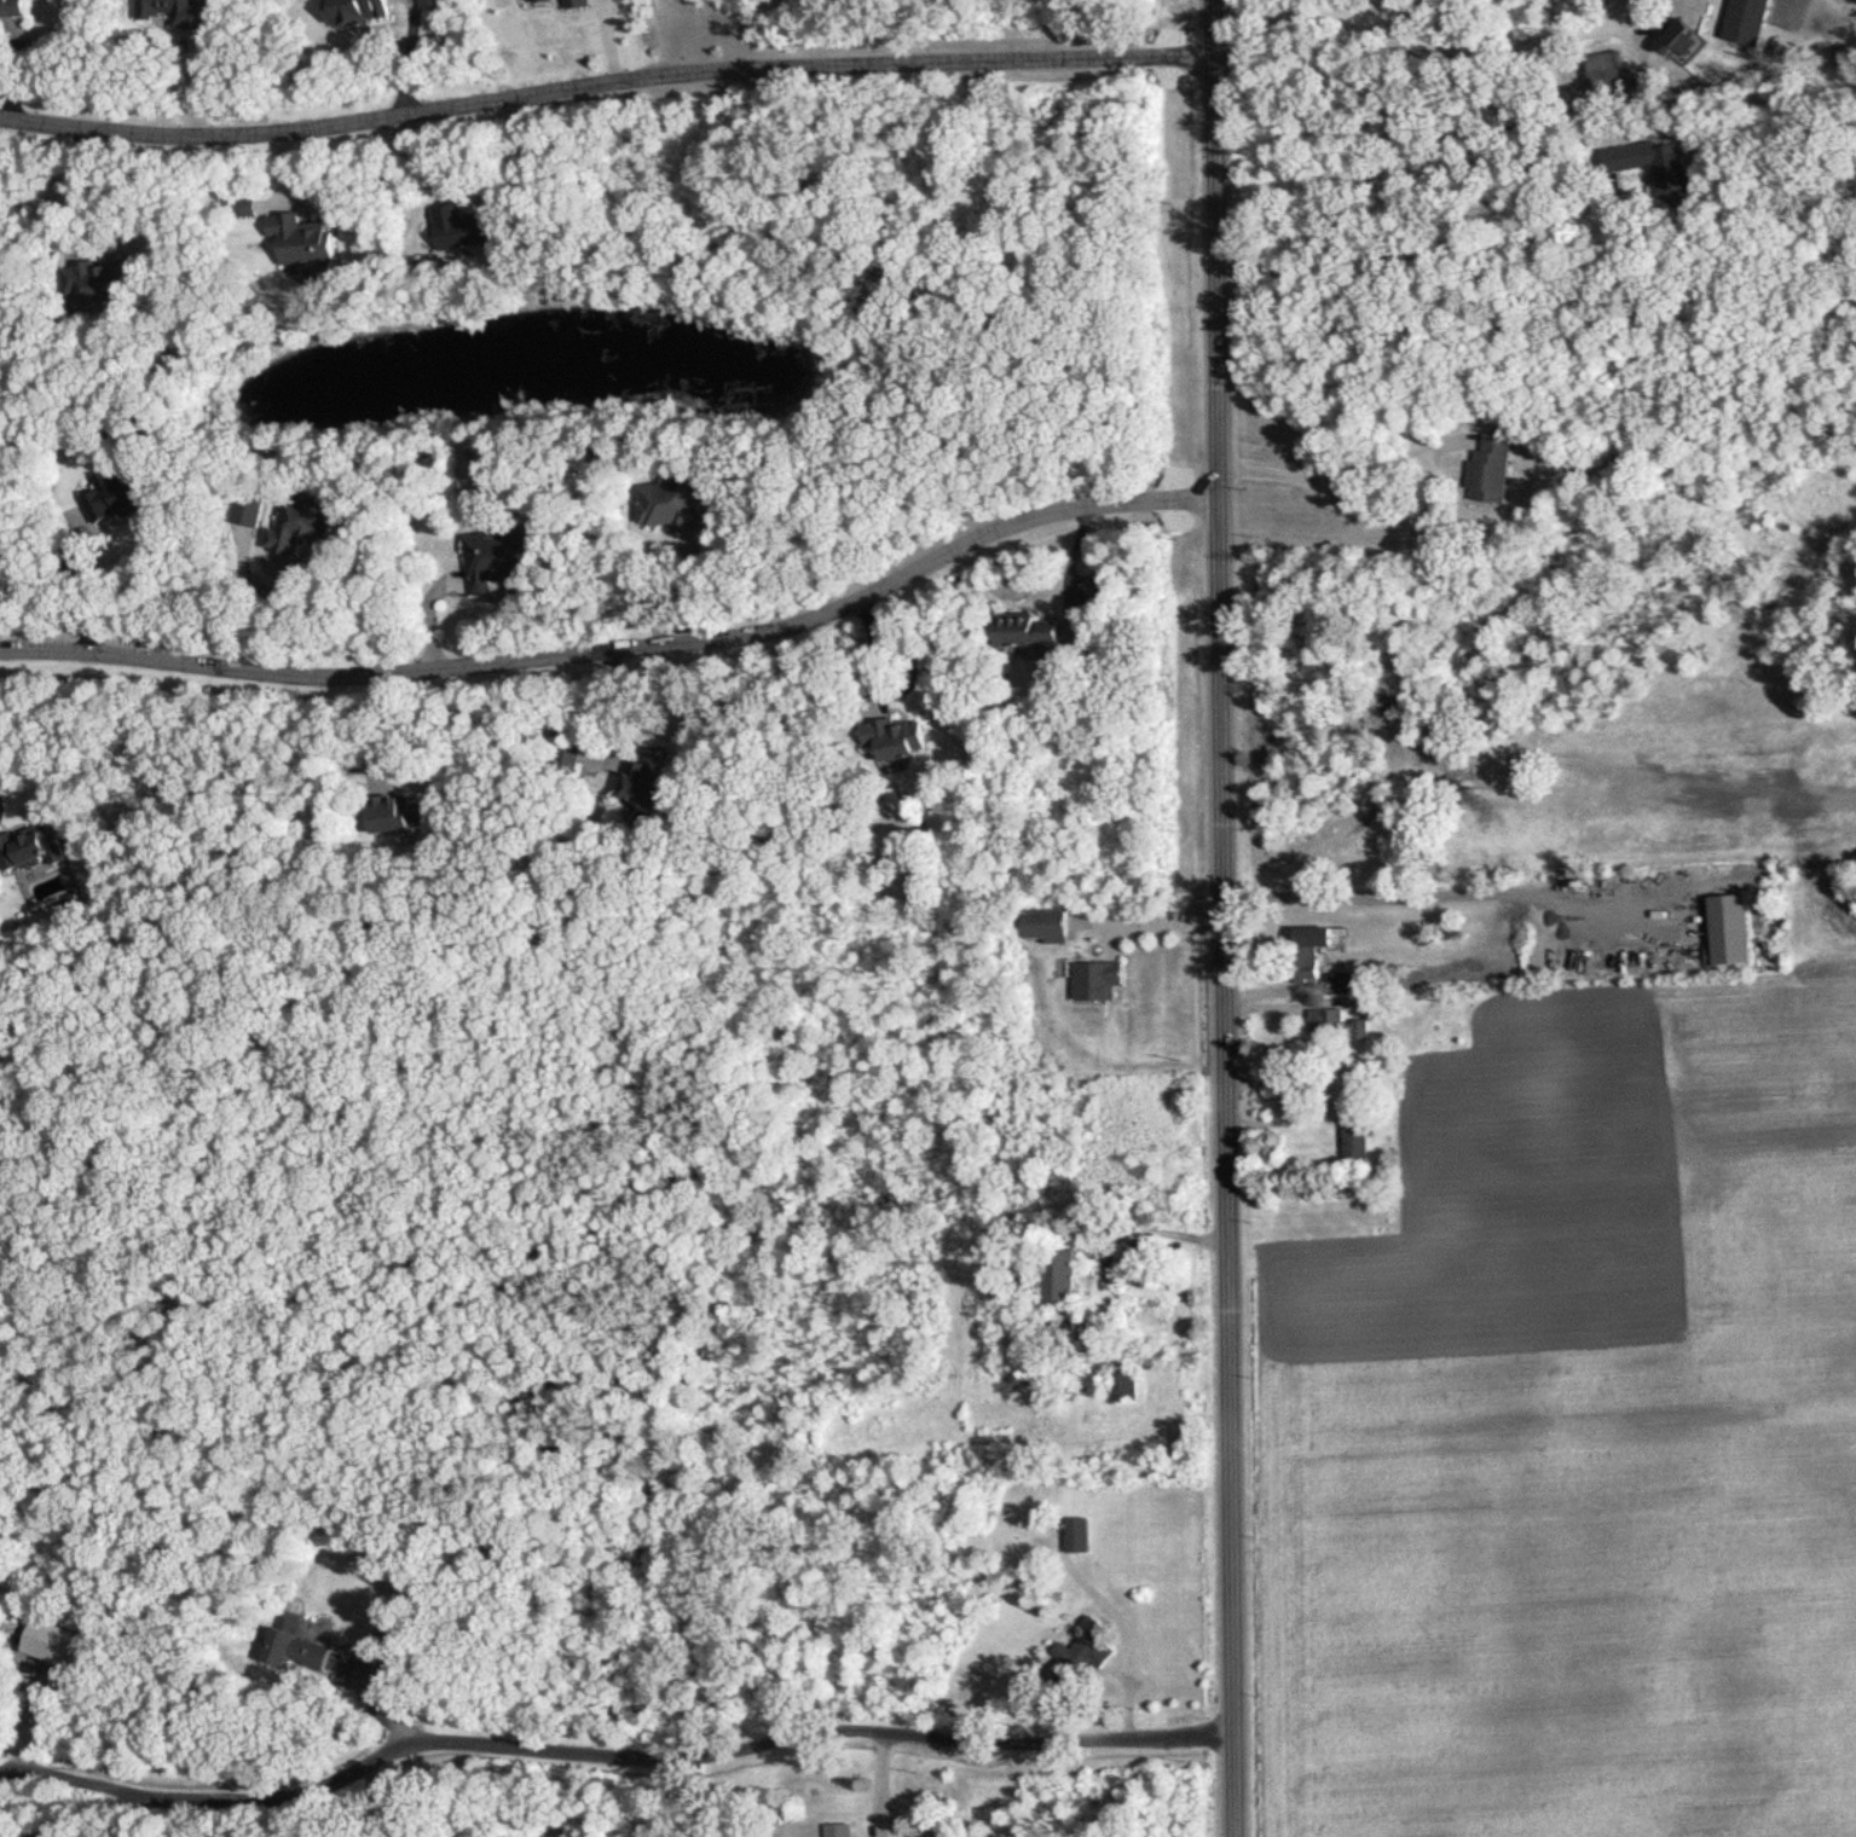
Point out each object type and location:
building: (13, 7)
building: (1751, 10)
road: (1415, 35)
building: (1687, 42)
road: (596, 82)
building: (1629, 157)
building: (462, 227)
building: (305, 239)
road: (1420, 251)
building: (93, 280)
building: (1496, 469)
building: (122, 491)
building: (665, 502)
road: (1401, 515)
building: (301, 523)
building: (495, 562)
road: (88, 581)
road: (270, 593)
building: (1037, 628)
road: (619, 641)
road: (884, 682)
road: (597, 709)
building: (903, 735)
building: (568, 755)
building: (648, 783)
building: (400, 812)
building: (27, 846)
road: (1219, 917)
building: (1052, 923)
building: (1309, 960)
building: (1100, 979)
building: (1342, 980)
building: (1338, 1024)
building: (1360, 1077)
building: (1359, 1137)
building: (1139, 1258)
building: (1059, 1274)
building: (1133, 1384)
building: (1080, 1535)
building: (1087, 1653)
road: (670, 1758)
road: (115, 1801)
building: (842, 1829)
building: (937, 1831)

